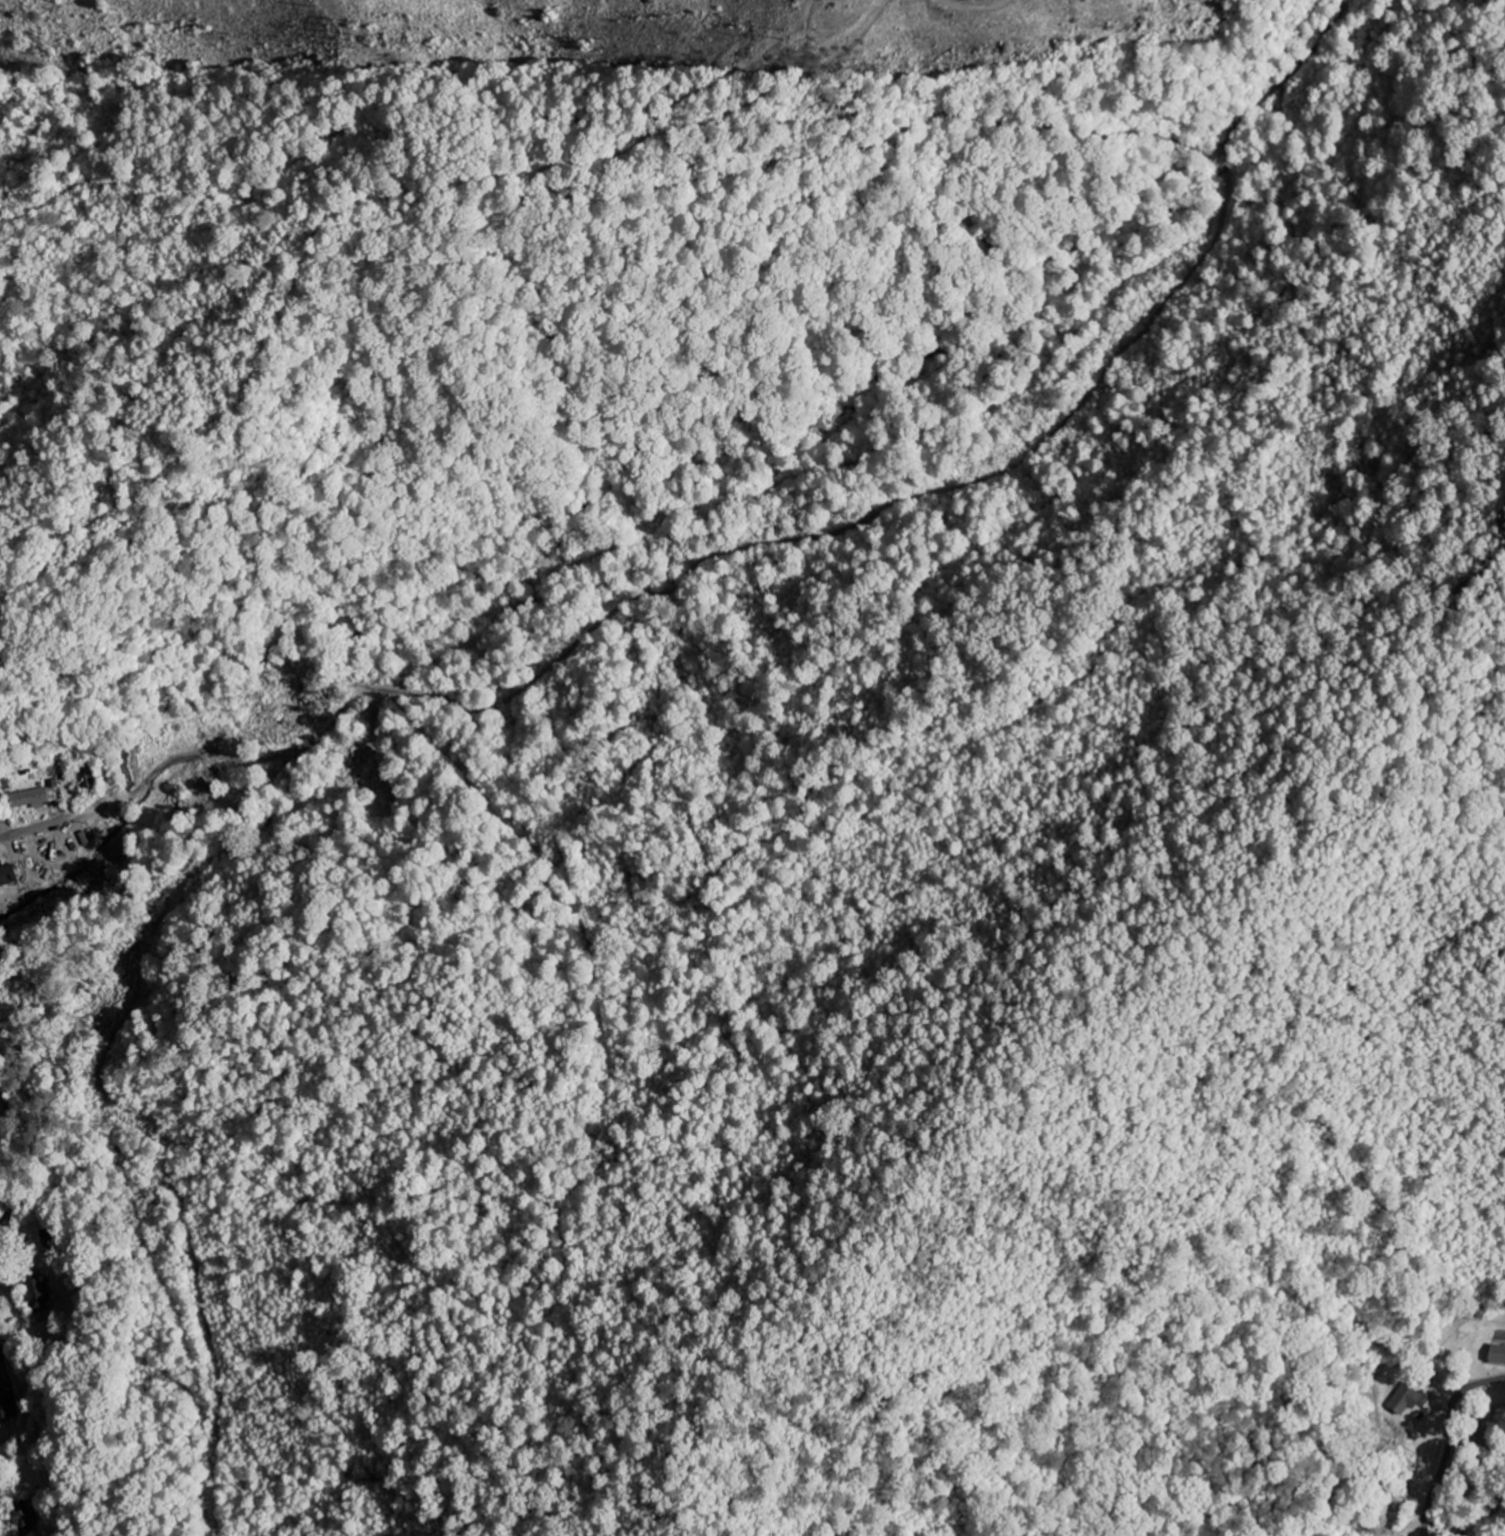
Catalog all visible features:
road: (90, 779)
building: (31, 798)
road: (87, 814)
building: (8, 875)
building: (41, 1294)
building: (1, 1355)
building: (1500, 1355)
building: (1408, 1397)
building: (8, 1407)
road: (1449, 1456)
building: (27, 1521)

